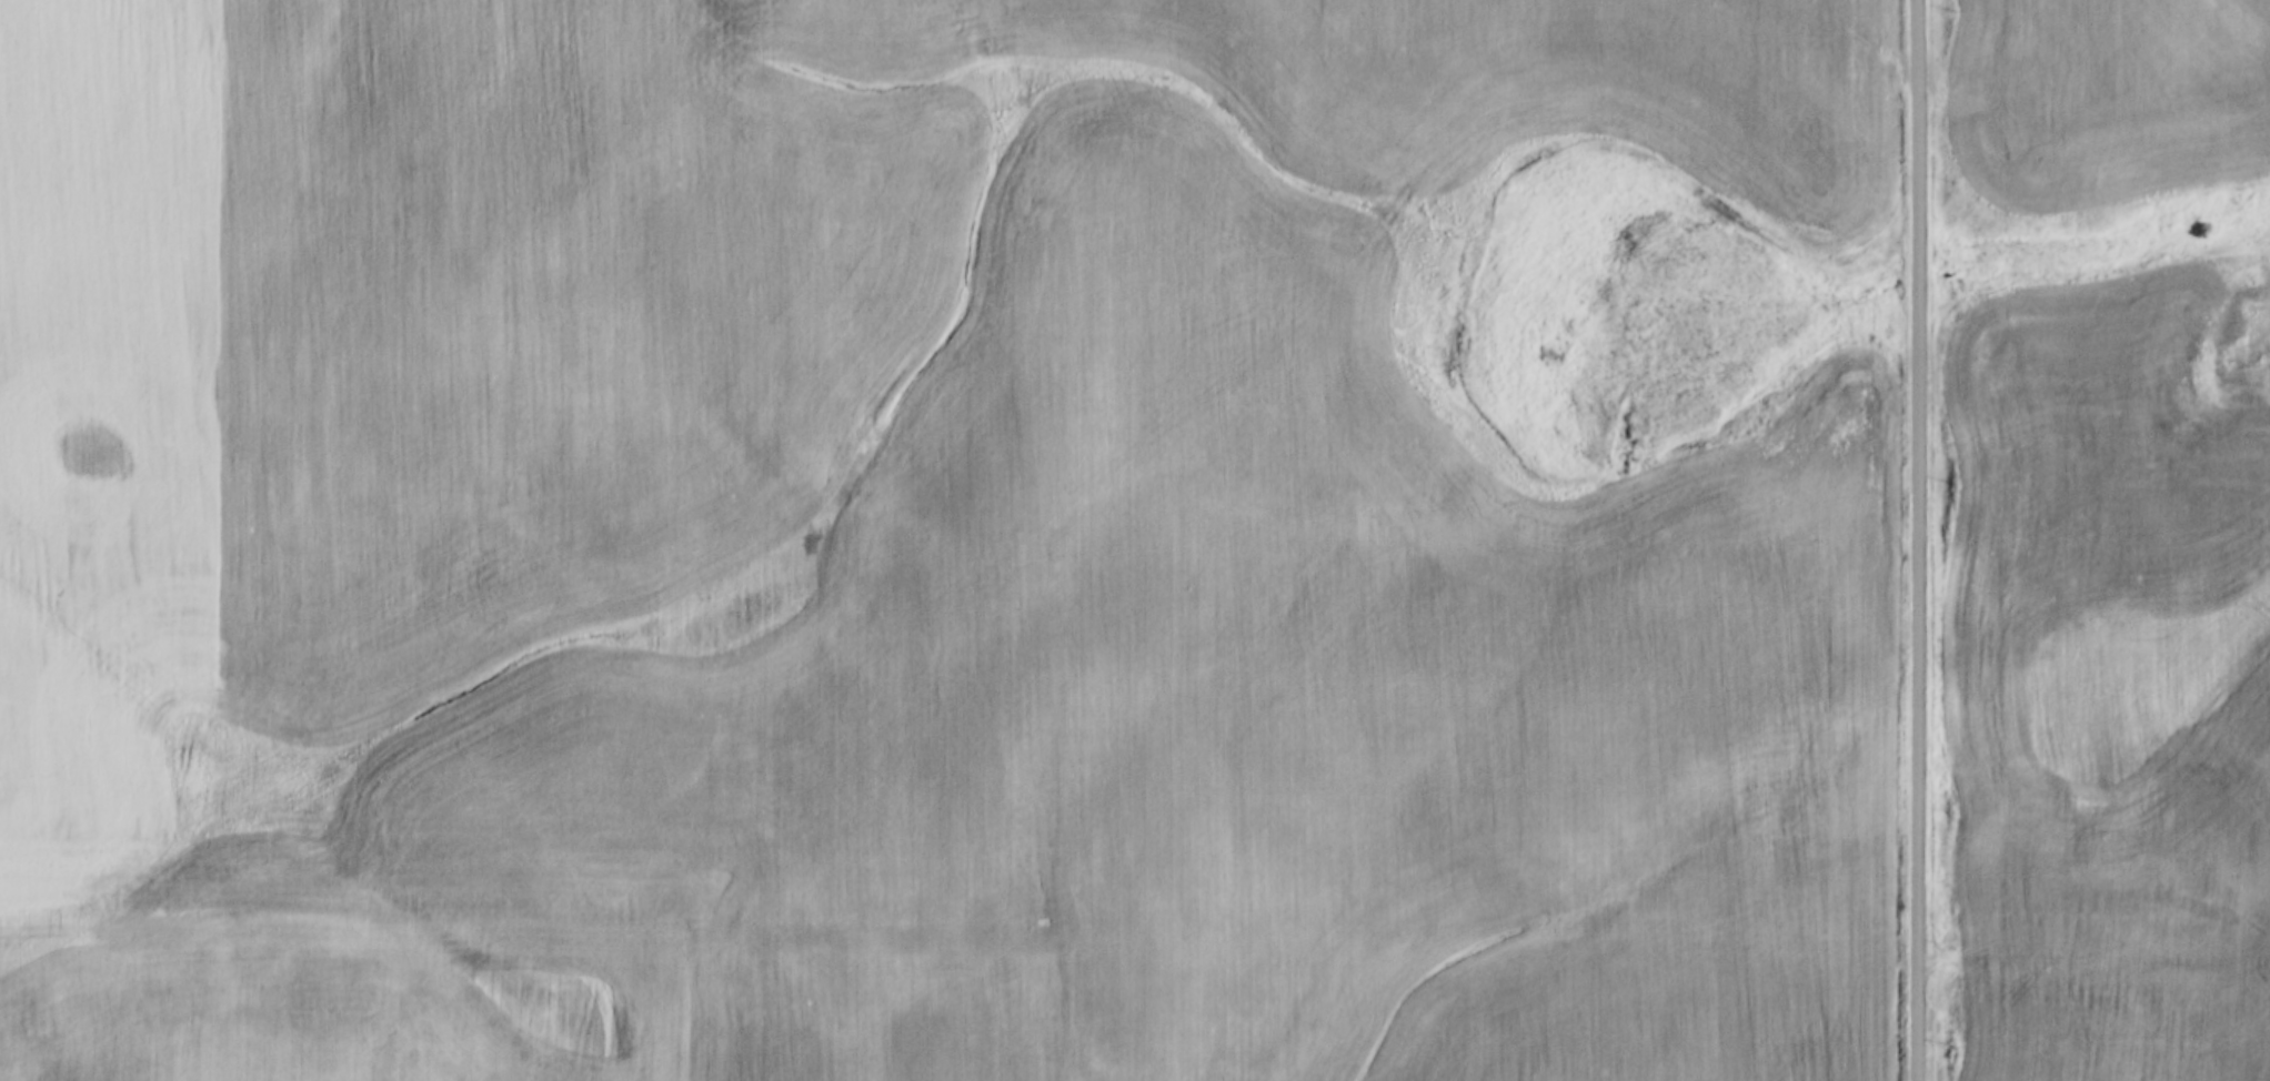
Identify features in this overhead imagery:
road: (1920, 539)
road: (2076, 961)

